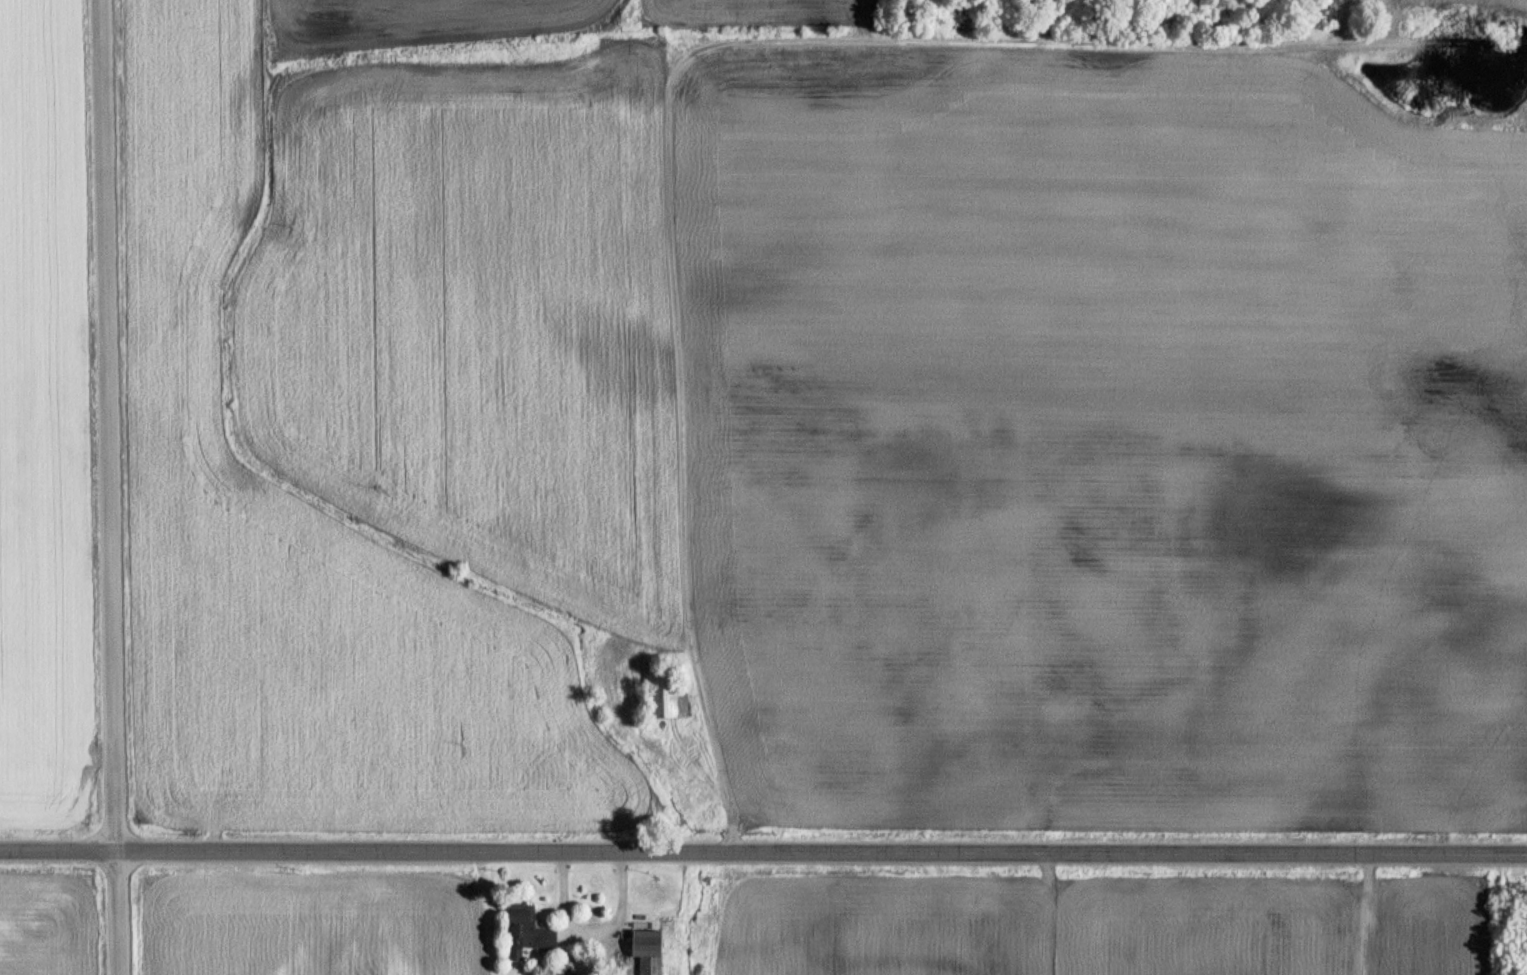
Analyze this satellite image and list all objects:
road: (110, 424)
building: (664, 695)
road: (763, 838)
road: (118, 911)
building: (516, 916)
building: (536, 936)
building: (645, 950)

